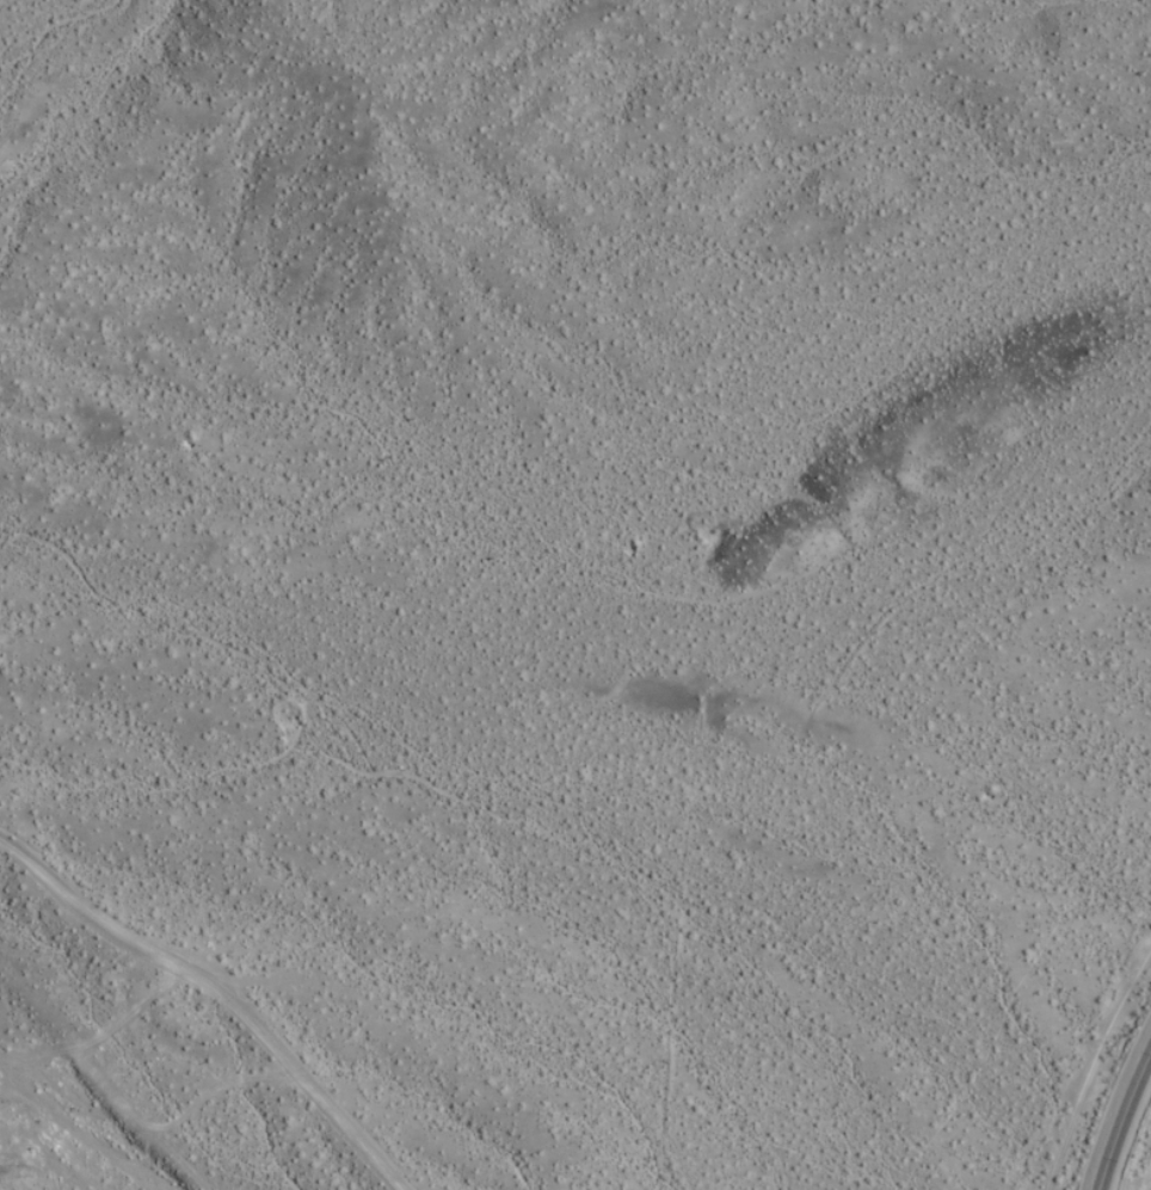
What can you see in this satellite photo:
road: (222, 991)
road: (1119, 1118)

